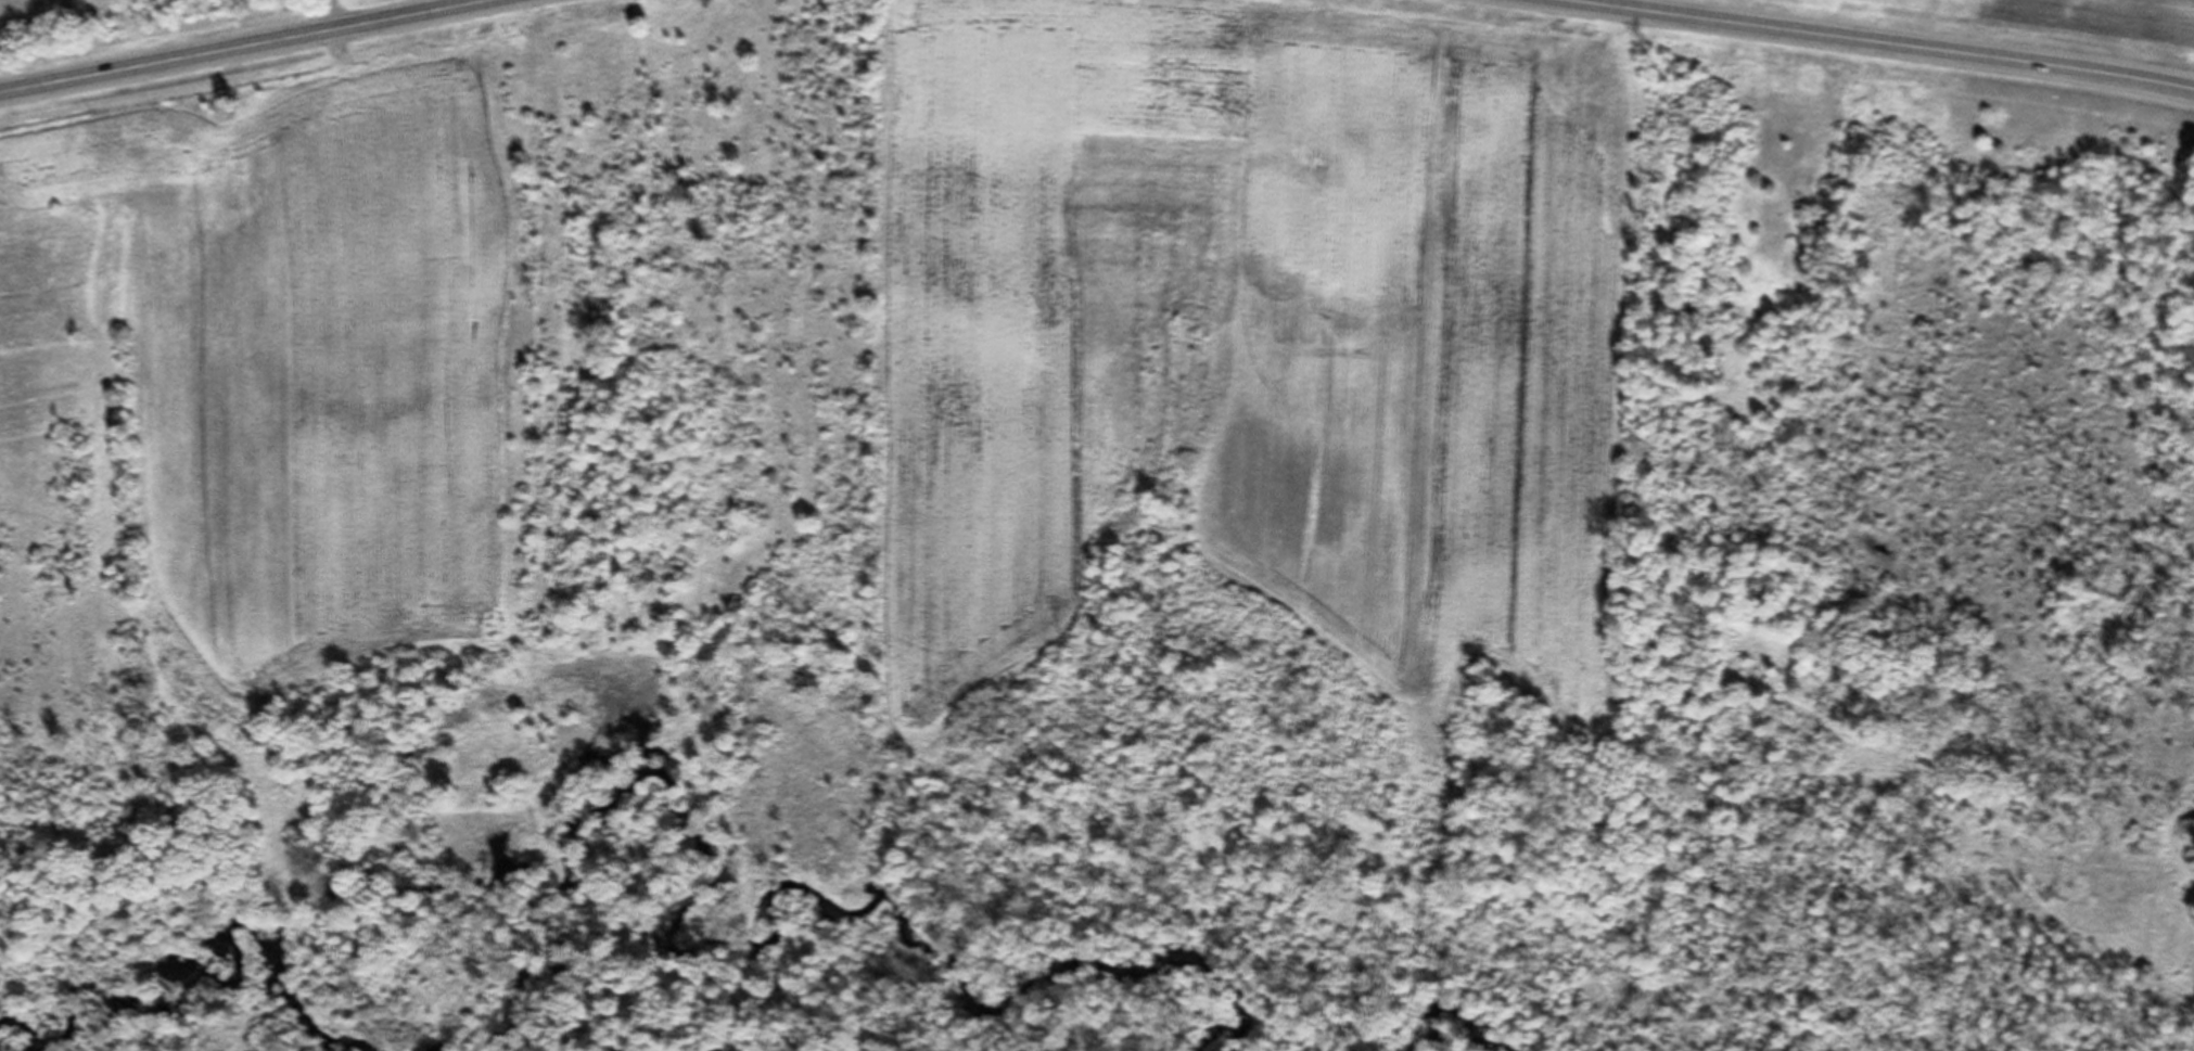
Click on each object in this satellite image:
road: (1822, 49)
road: (306, 55)
crop: (1251, 335)
crop: (257, 389)

